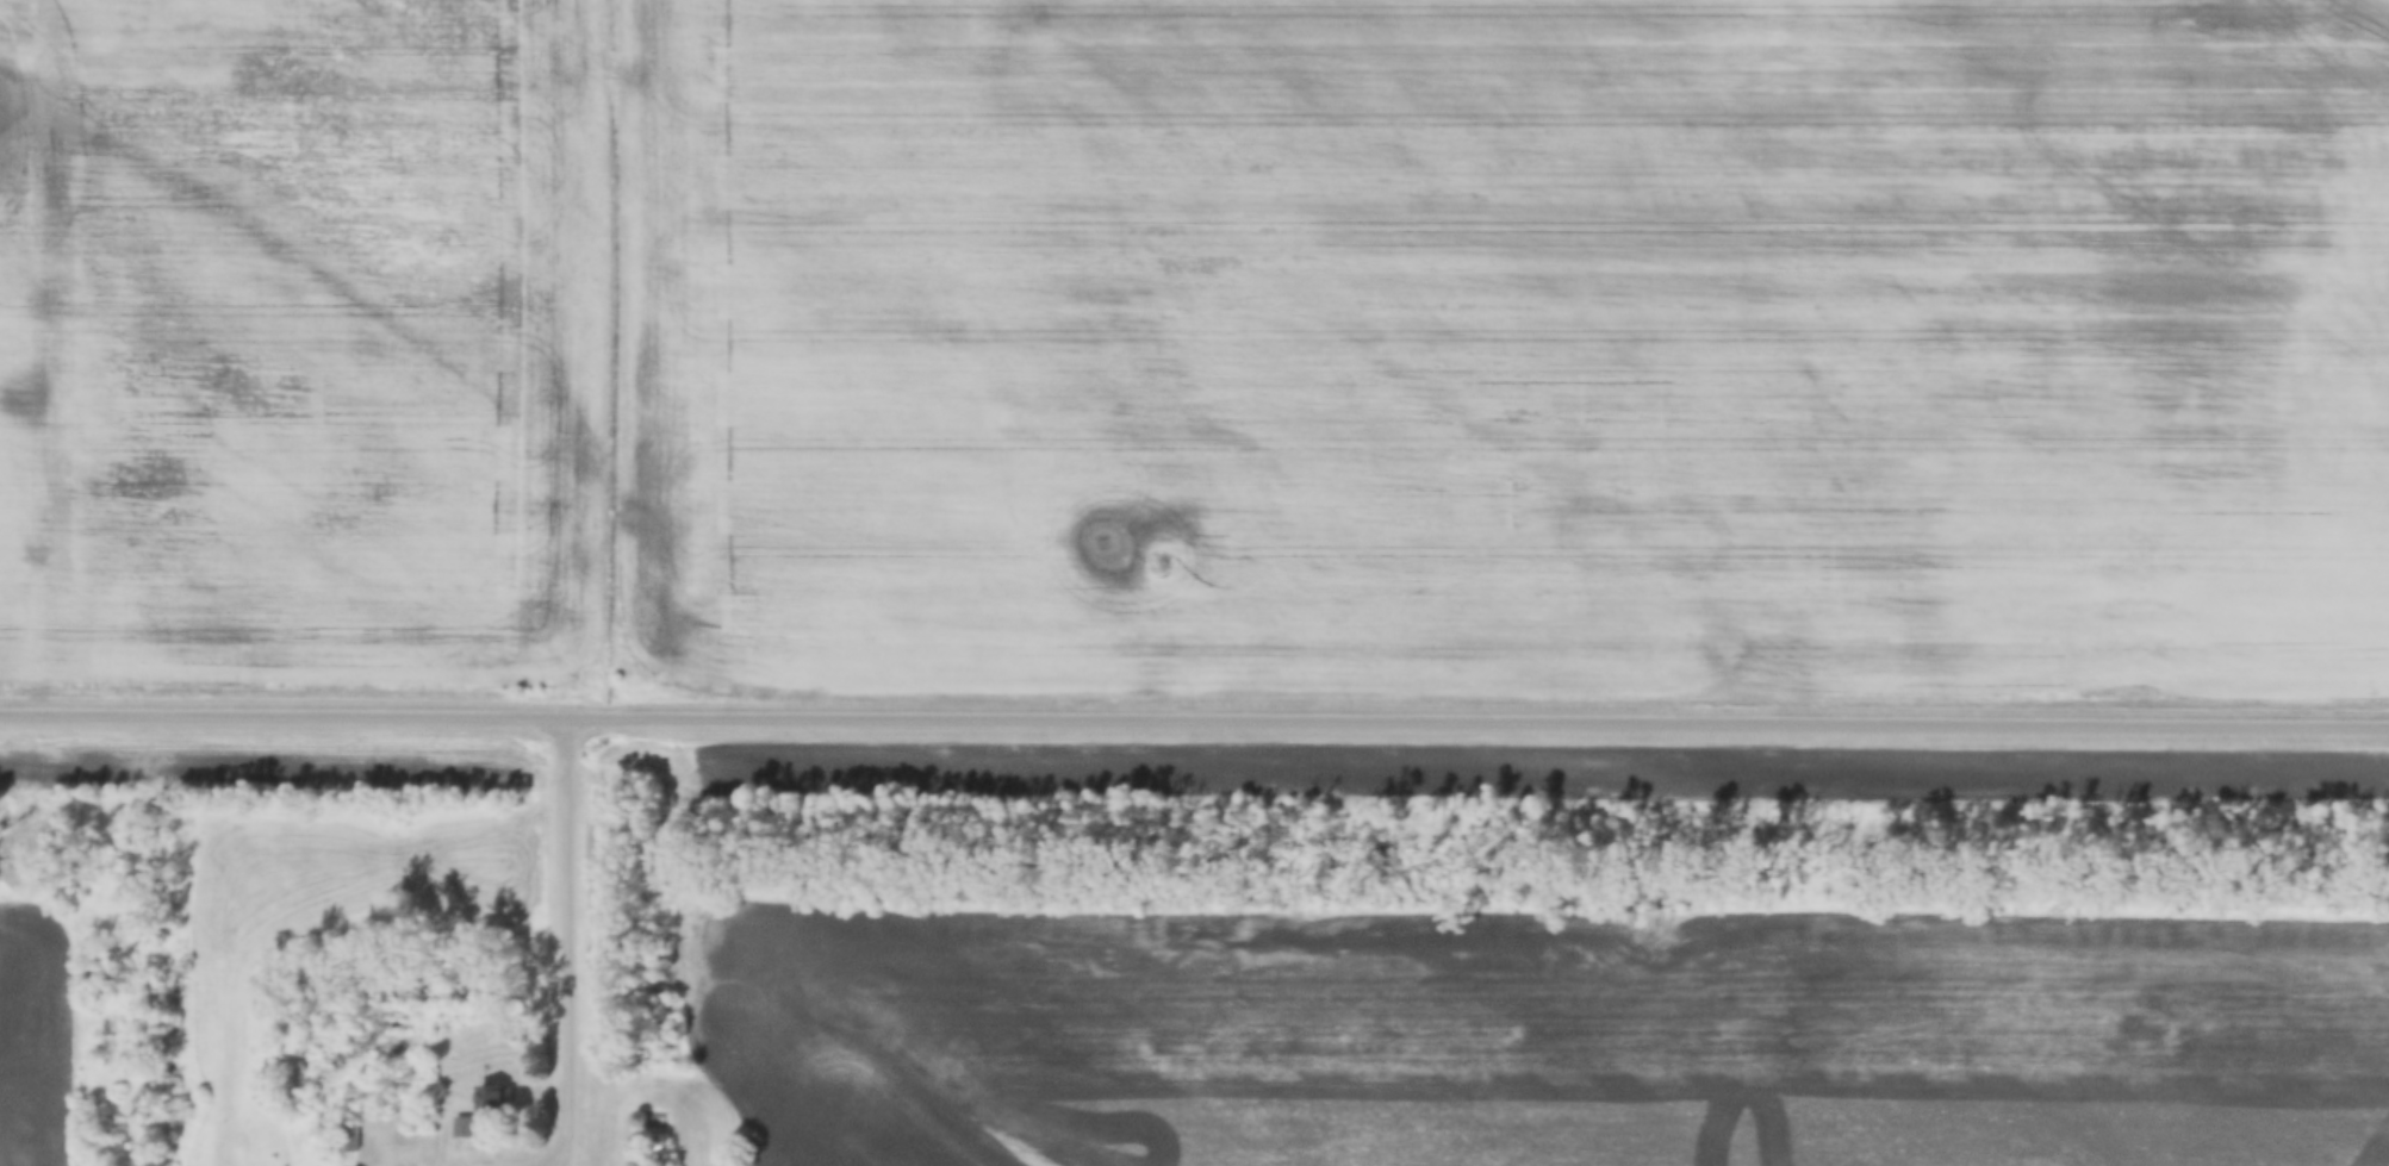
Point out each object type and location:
road: (1194, 716)
road: (565, 946)
building: (489, 1102)
building: (461, 1128)
building: (347, 1139)
road: (564, 1160)

